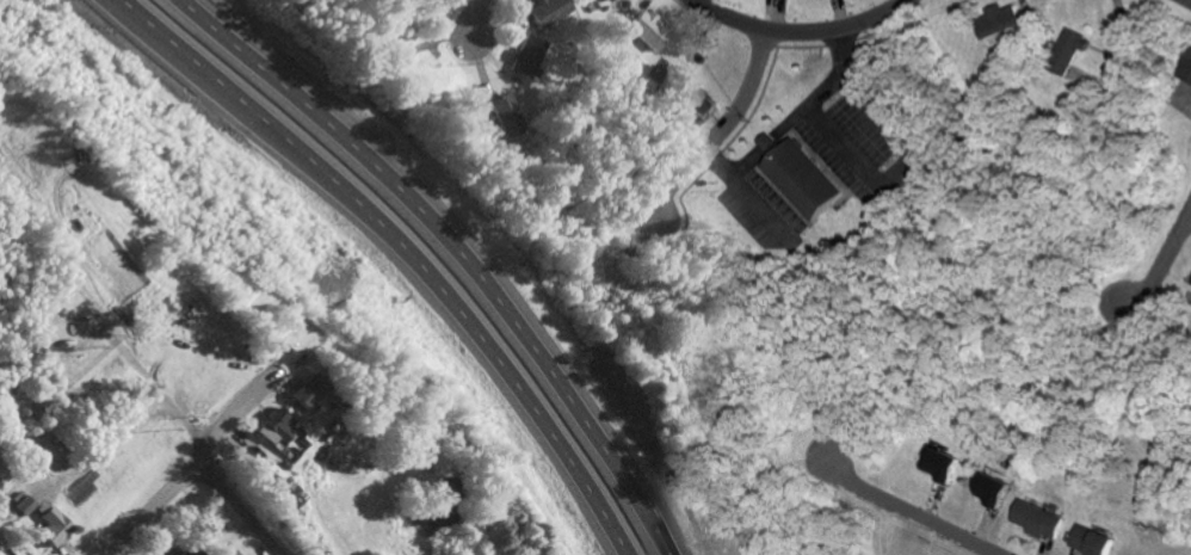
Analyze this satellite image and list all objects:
building: (606, 0)
road: (1190, 0)
building: (548, 11)
road: (469, 18)
building: (998, 20)
building: (648, 29)
road: (796, 31)
building: (1066, 50)
building: (526, 55)
building: (1186, 69)
road: (807, 105)
building: (699, 106)
building: (505, 116)
road: (720, 135)
road: (767, 142)
road: (914, 155)
road: (745, 162)
building: (803, 179)
road: (747, 196)
road: (1187, 214)
road: (457, 248)
road: (397, 249)
road: (1158, 260)
building: (1190, 284)
building: (307, 389)
building: (274, 425)
road: (191, 428)
building: (942, 462)
road: (193, 468)
building: (995, 487)
road: (905, 510)
building: (1041, 518)
building: (53, 523)
building: (1096, 541)
building: (5, 551)

